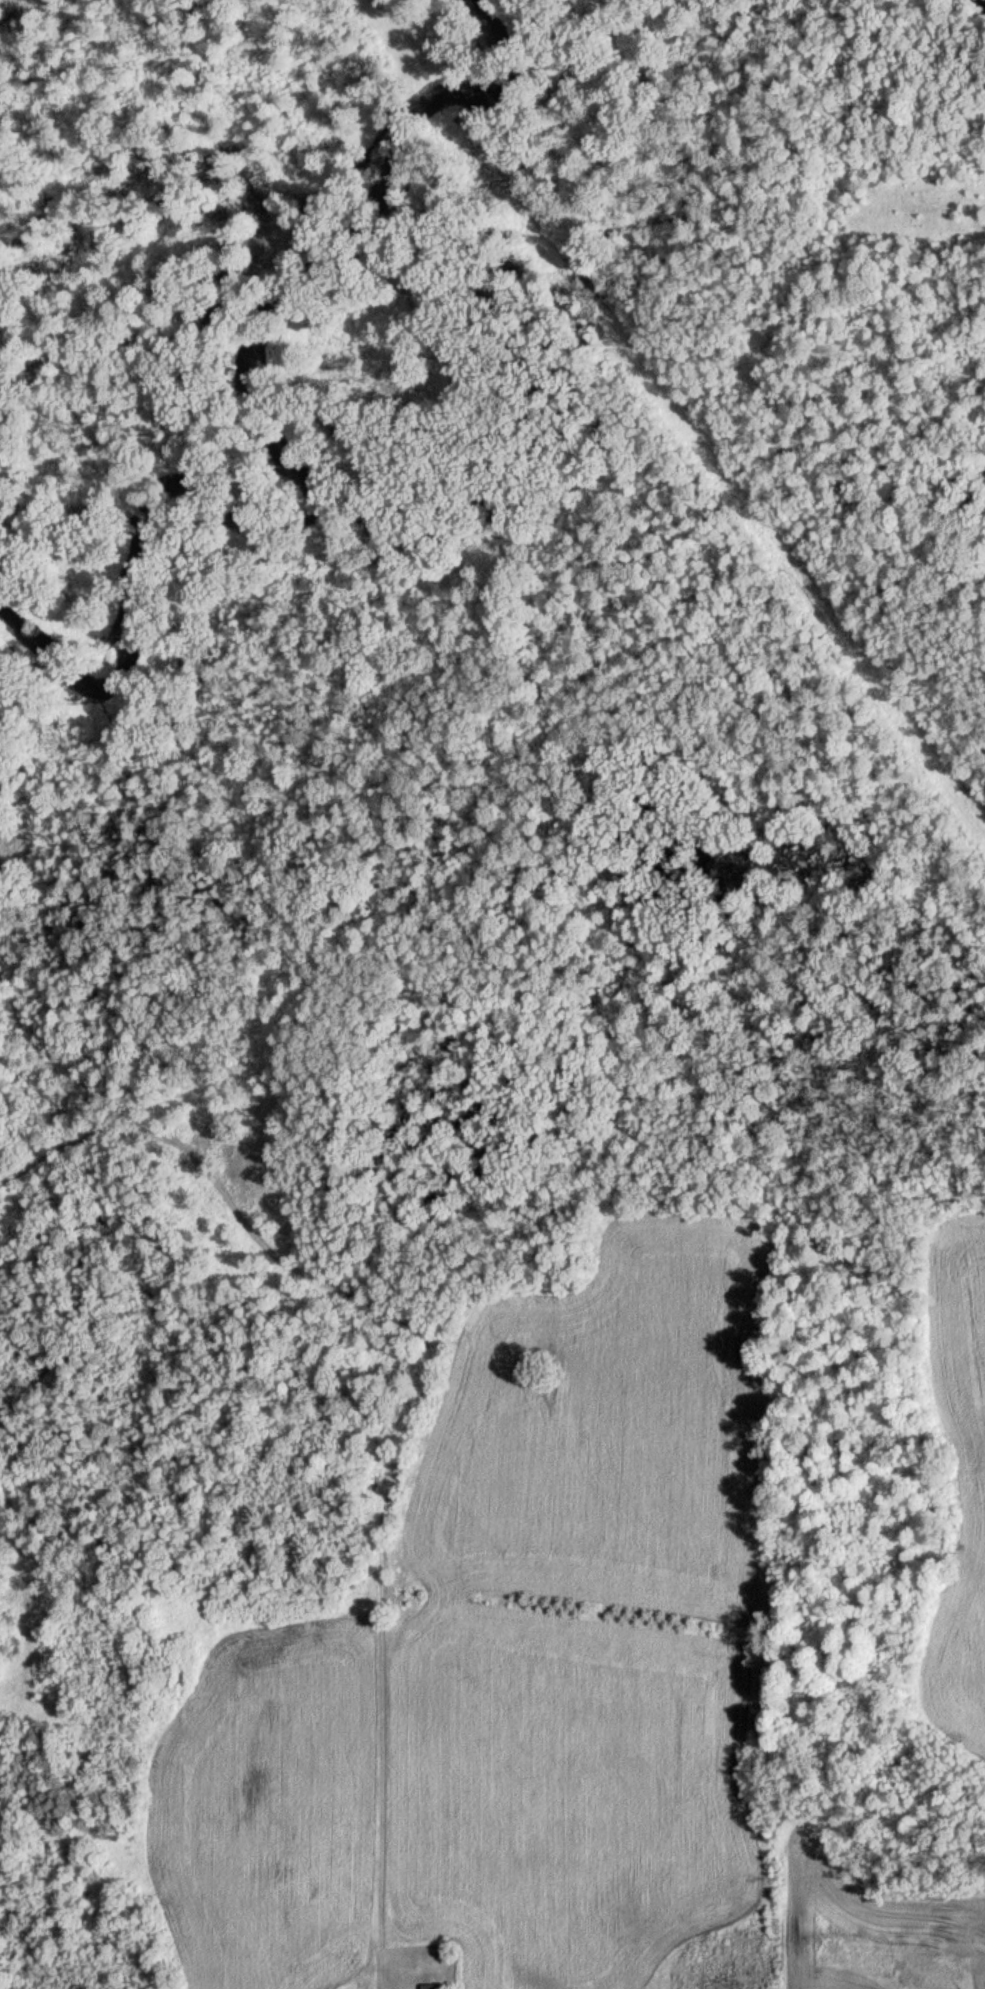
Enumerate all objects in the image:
river: (305, 463)
road: (424, 1404)
building: (431, 1986)

